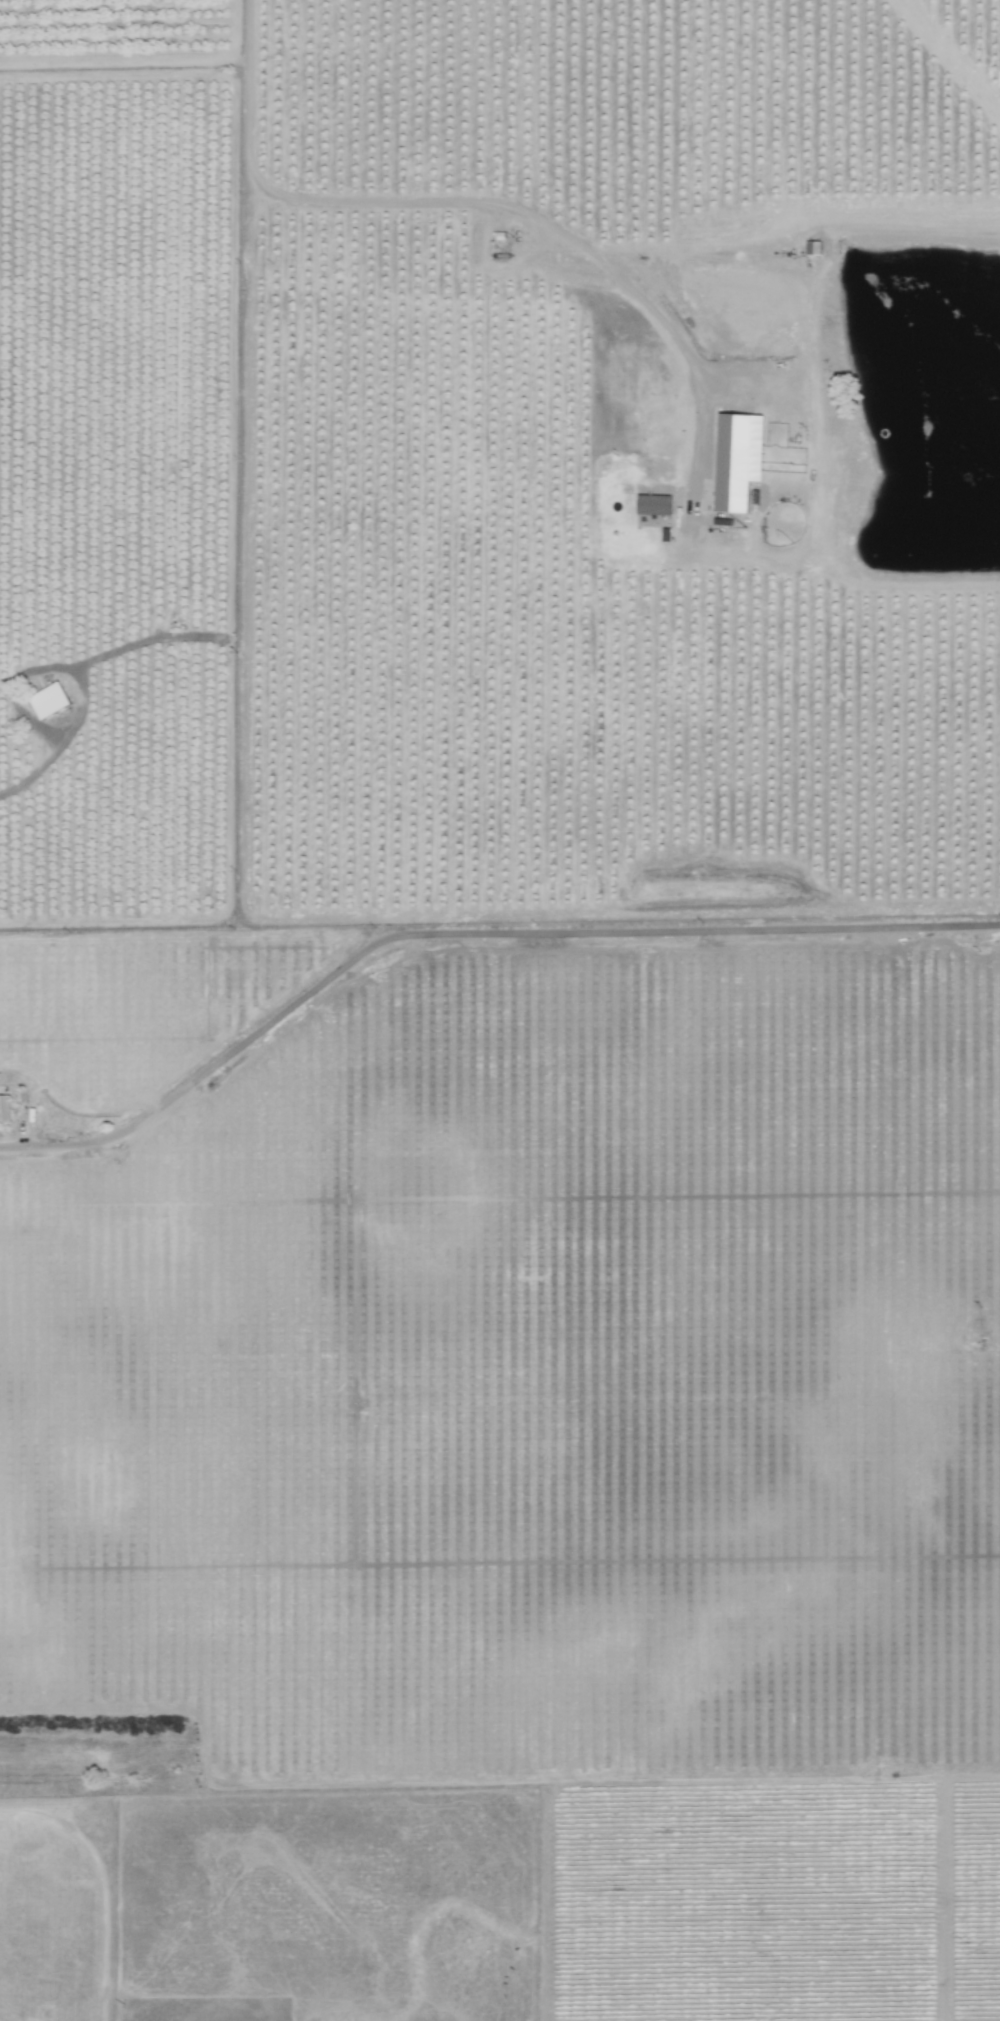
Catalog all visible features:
road: (452, 204)
road: (687, 250)
building: (732, 460)
building: (647, 503)
road: (44, 662)
building: (53, 701)
road: (21, 786)
road: (466, 933)
building: (5, 1108)
road: (882, 1348)

